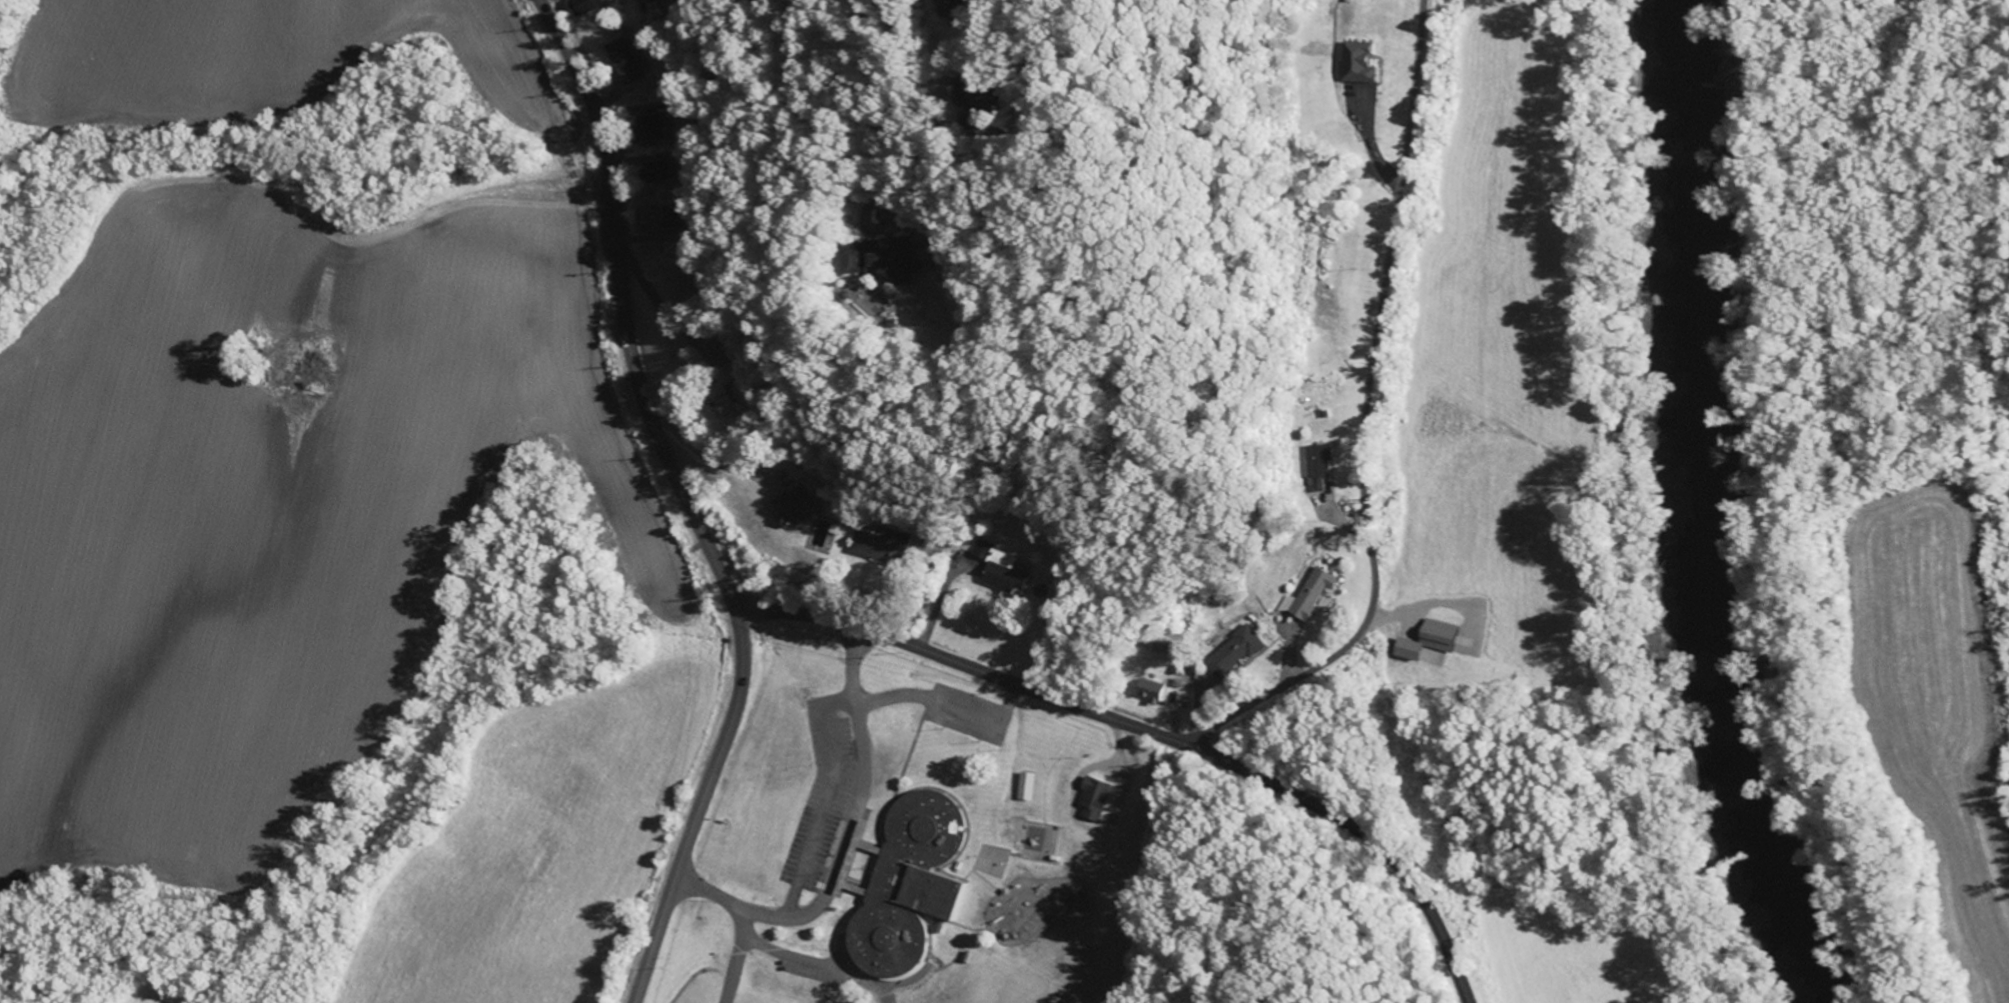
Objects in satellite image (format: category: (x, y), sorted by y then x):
building: (591, 5)
building: (663, 7)
building: (623, 54)
building: (1354, 63)
building: (879, 260)
road: (620, 308)
building: (726, 402)
road: (1362, 420)
building: (1316, 464)
building: (792, 507)
river: (1710, 514)
building: (875, 544)
building: (982, 549)
building: (1001, 571)
building: (1308, 594)
building: (1436, 635)
building: (1406, 648)
building: (1234, 652)
building: (1149, 690)
road: (1150, 733)
building: (1023, 787)
building: (1089, 799)
road: (698, 807)
building: (901, 884)

